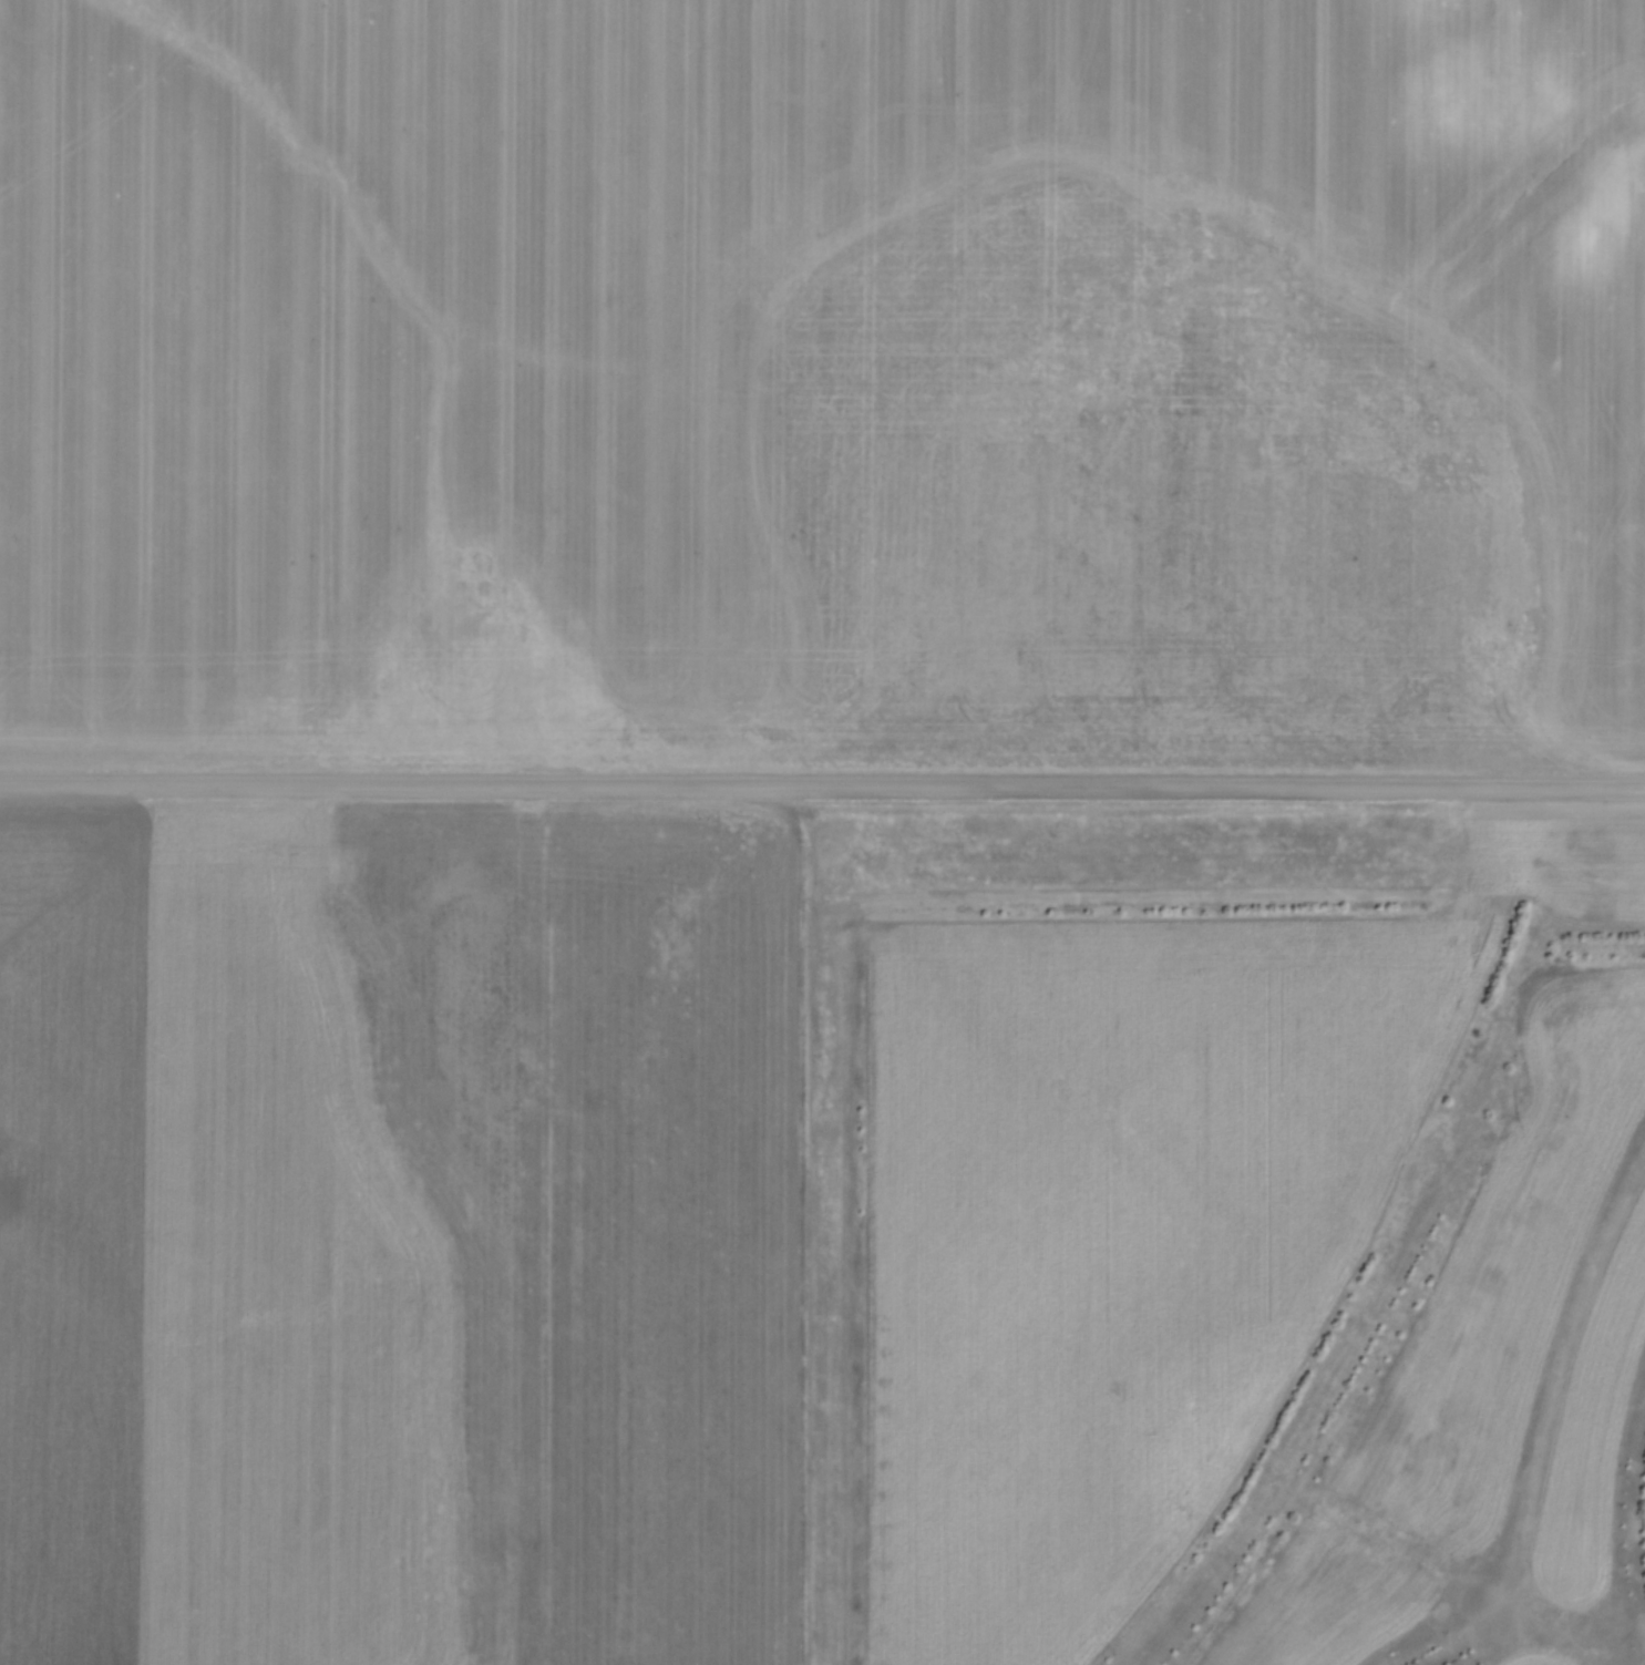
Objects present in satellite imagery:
crop: (823, 383)
road: (822, 785)

